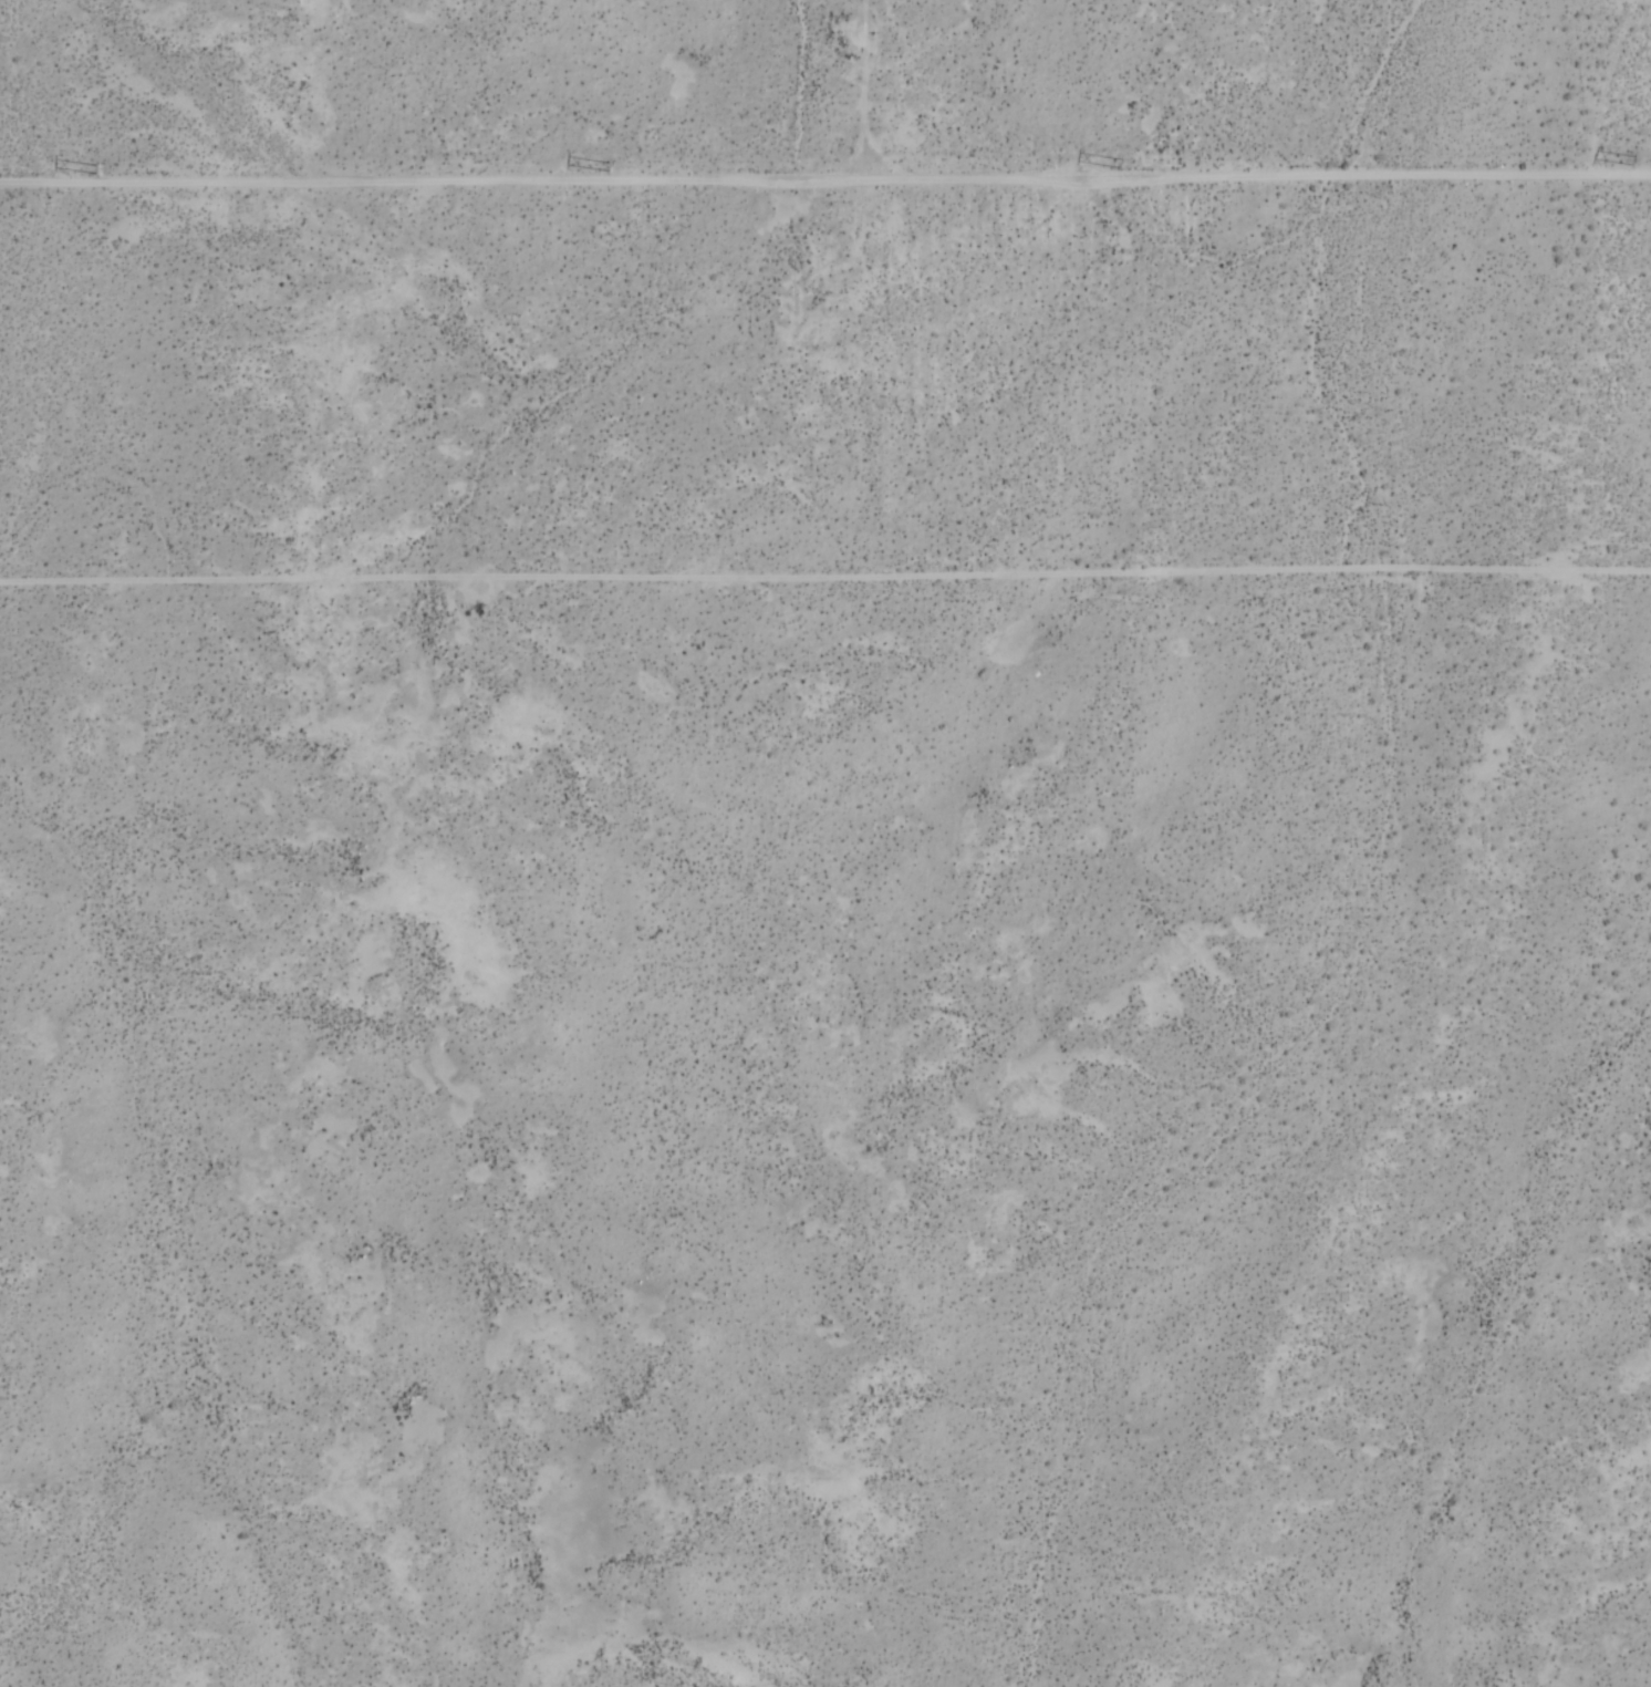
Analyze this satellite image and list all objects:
power tower: (1632, 161)
power tower: (1120, 163)
power tower: (609, 167)
power tower: (97, 172)
road: (825, 182)
road: (825, 573)

